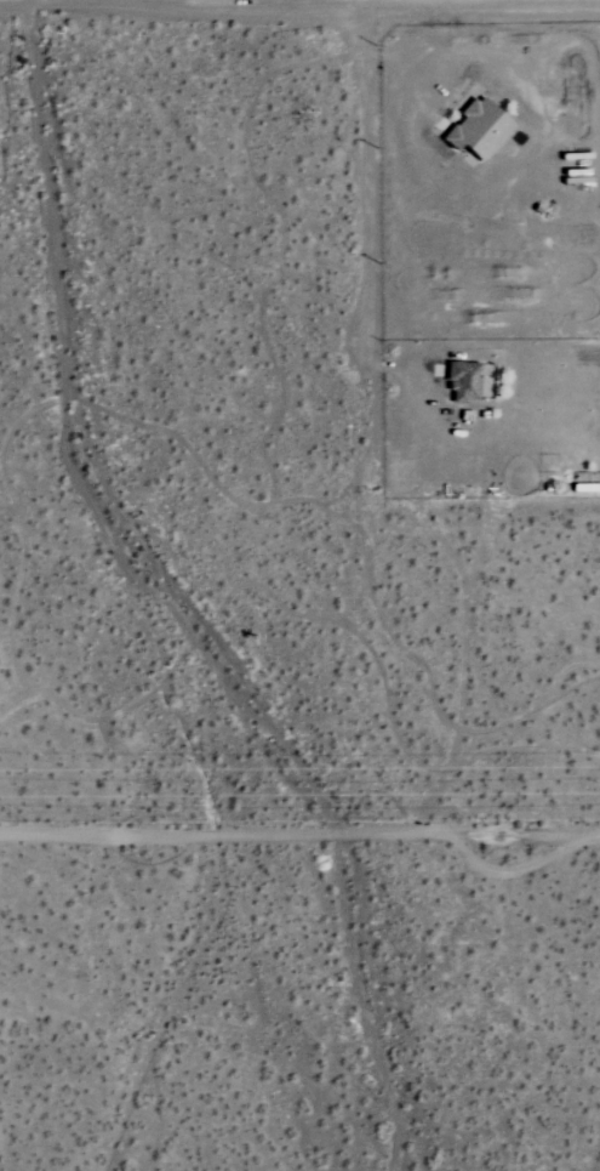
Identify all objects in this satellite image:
road: (299, 8)
building: (476, 130)
road: (389, 180)
road: (299, 845)

